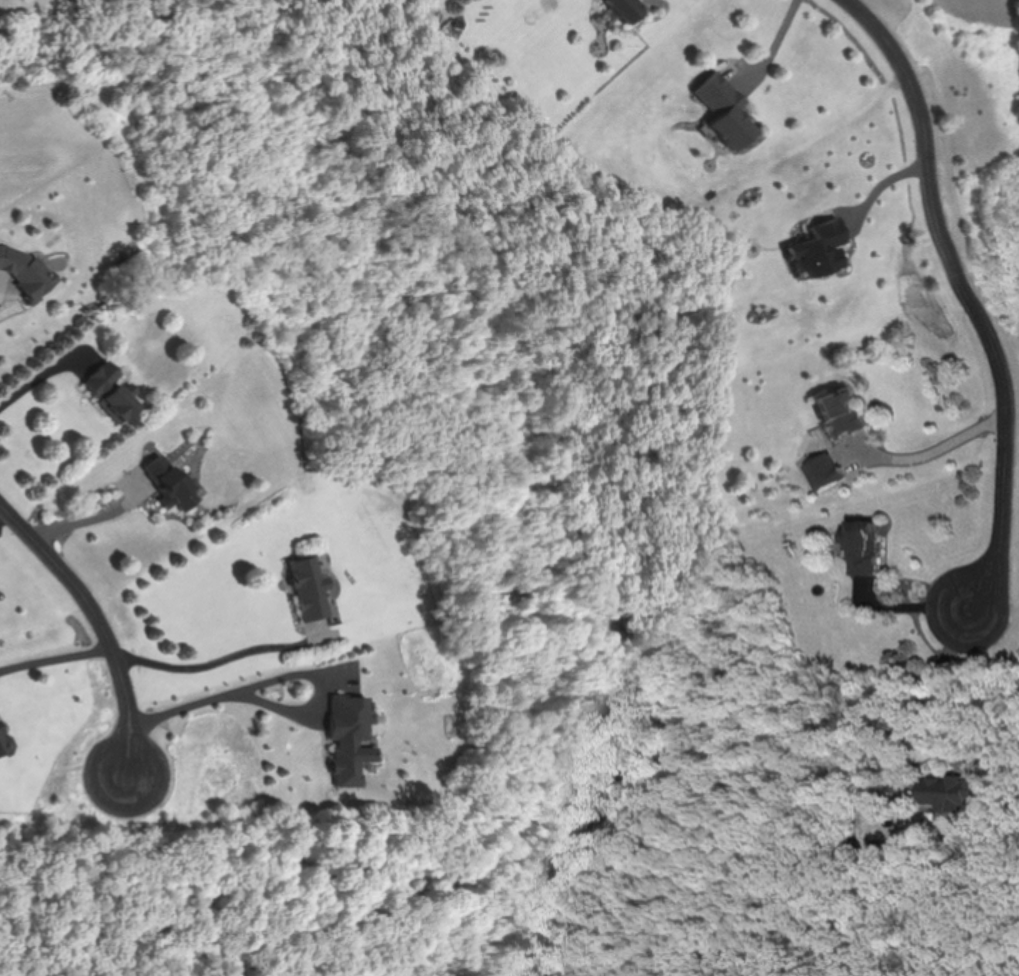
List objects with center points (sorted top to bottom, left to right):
building: (628, 7)
road: (781, 35)
building: (729, 117)
building: (26, 274)
road: (982, 293)
road: (44, 374)
building: (110, 392)
building: (840, 413)
road: (929, 451)
building: (168, 484)
road: (2, 514)
road: (88, 519)
building: (309, 590)
road: (99, 621)
road: (224, 658)
road: (56, 661)
road: (286, 678)
road: (919, 692)
building: (348, 739)
building: (2, 744)
building: (949, 793)

